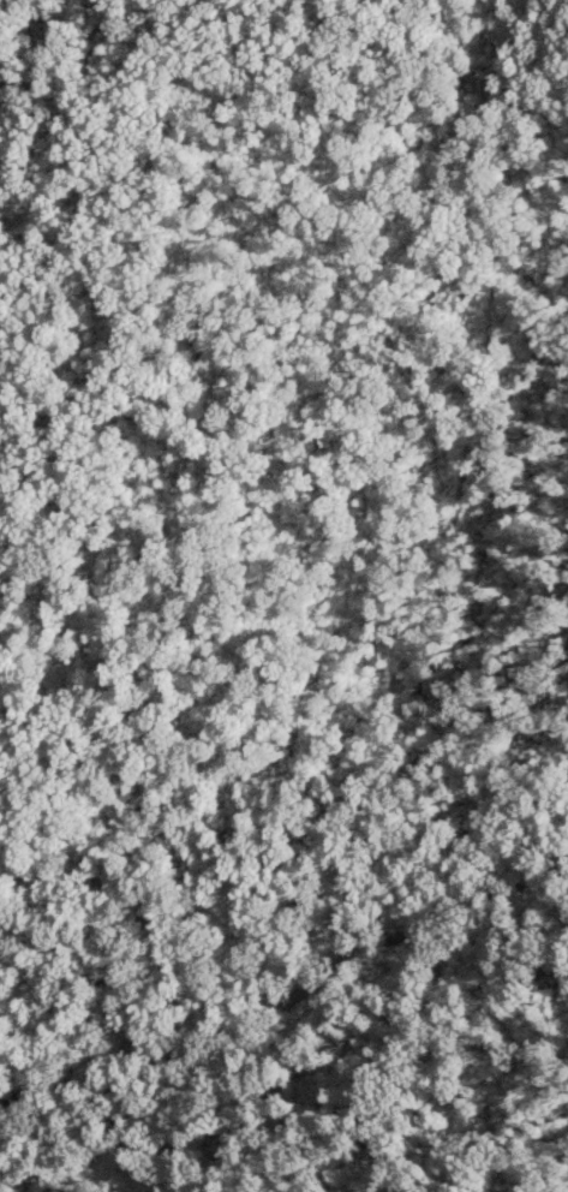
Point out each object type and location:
road: (283, 983)

